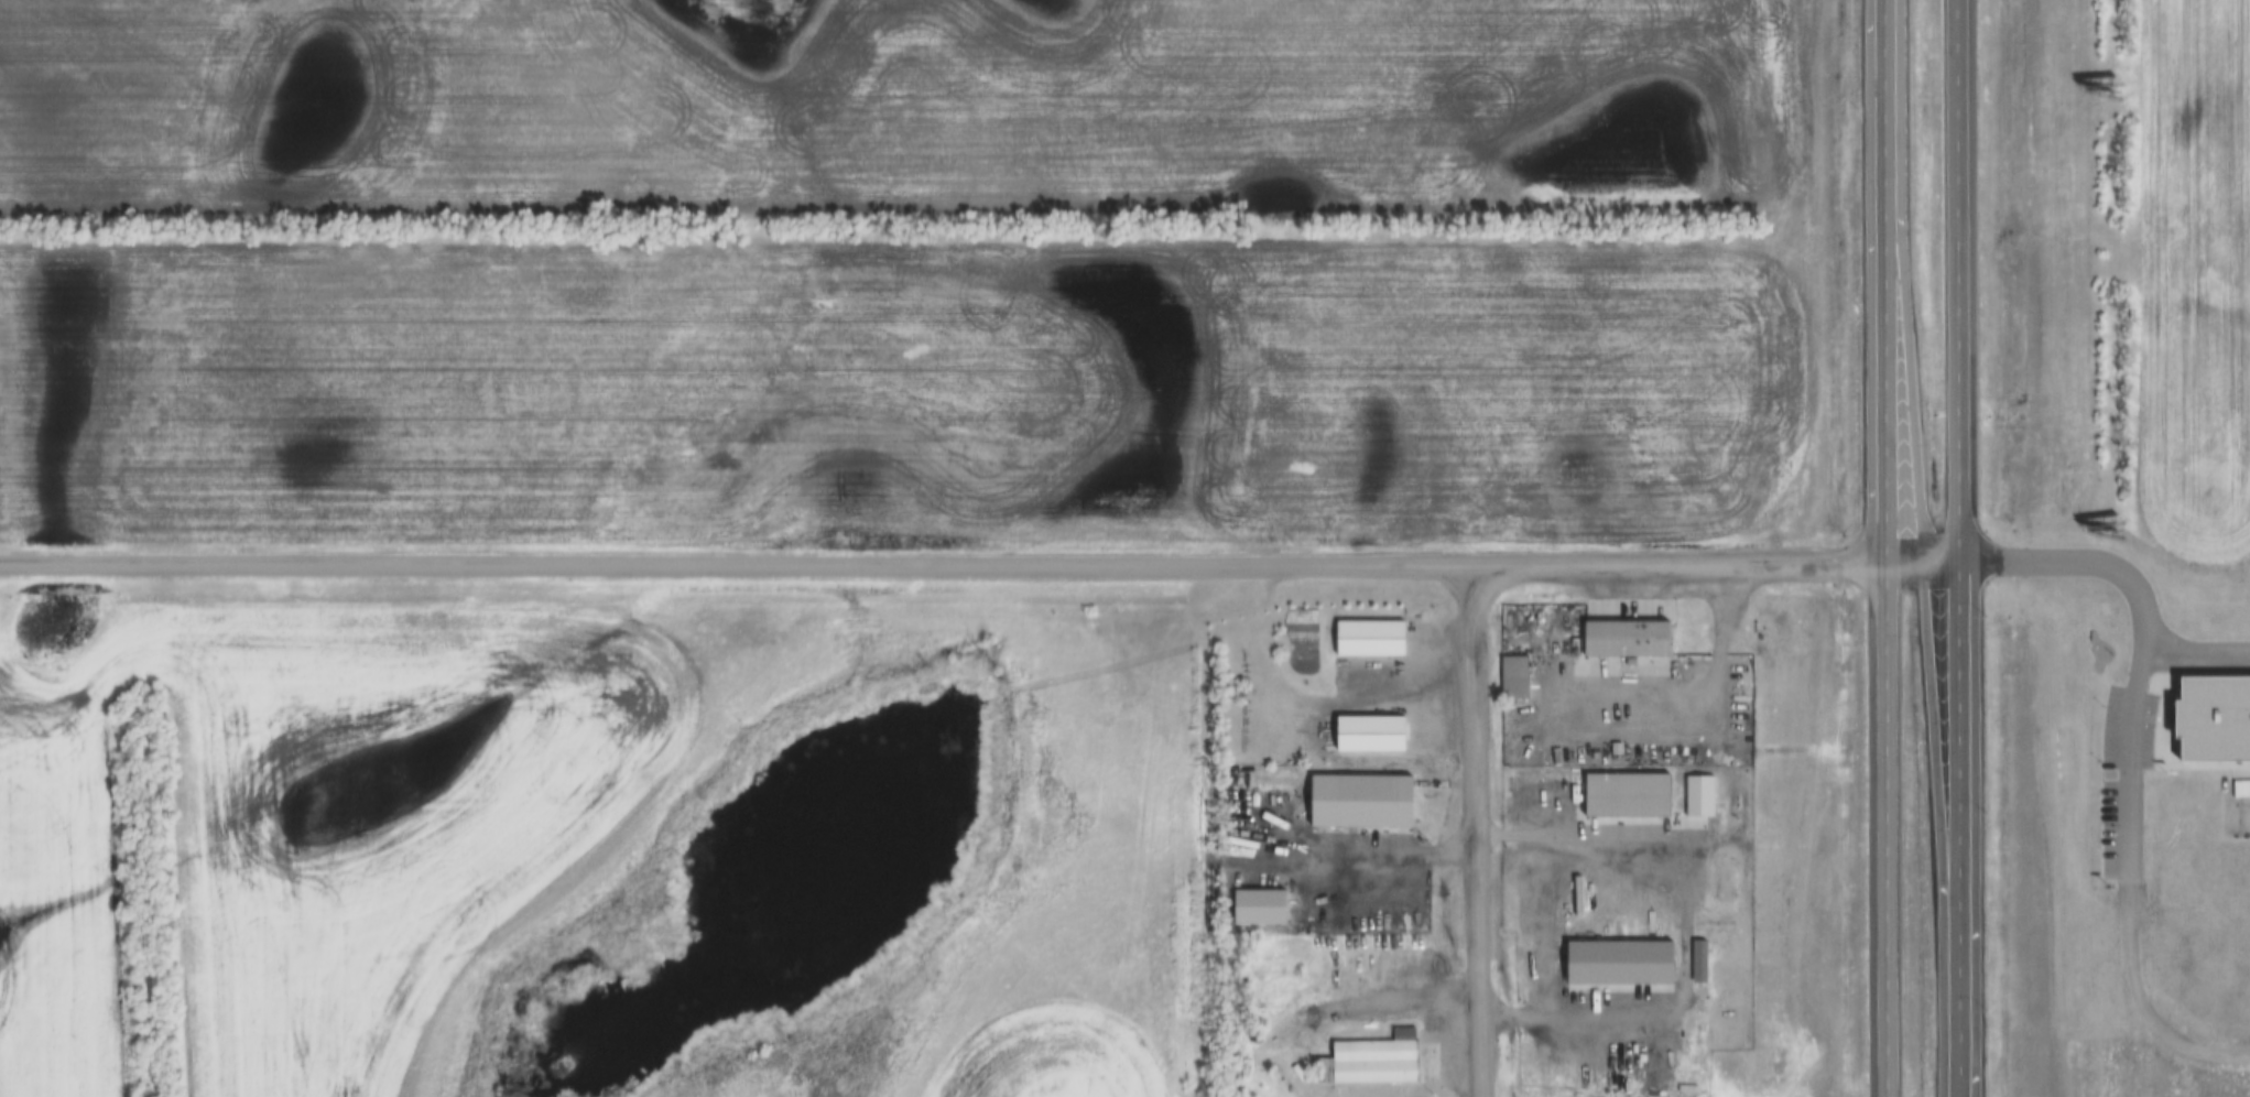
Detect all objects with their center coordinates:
road: (2141, 292)
road: (1887, 548)
road: (1964, 548)
road: (1925, 562)
road: (944, 563)
road: (2010, 563)
road: (2153, 593)
building: (1369, 639)
building: (1624, 639)
building: (1513, 672)
road: (1315, 705)
road: (1590, 725)
road: (2105, 784)
building: (1626, 794)
road: (1485, 828)
road: (1662, 930)
road: (1393, 997)
building: (1373, 1061)

